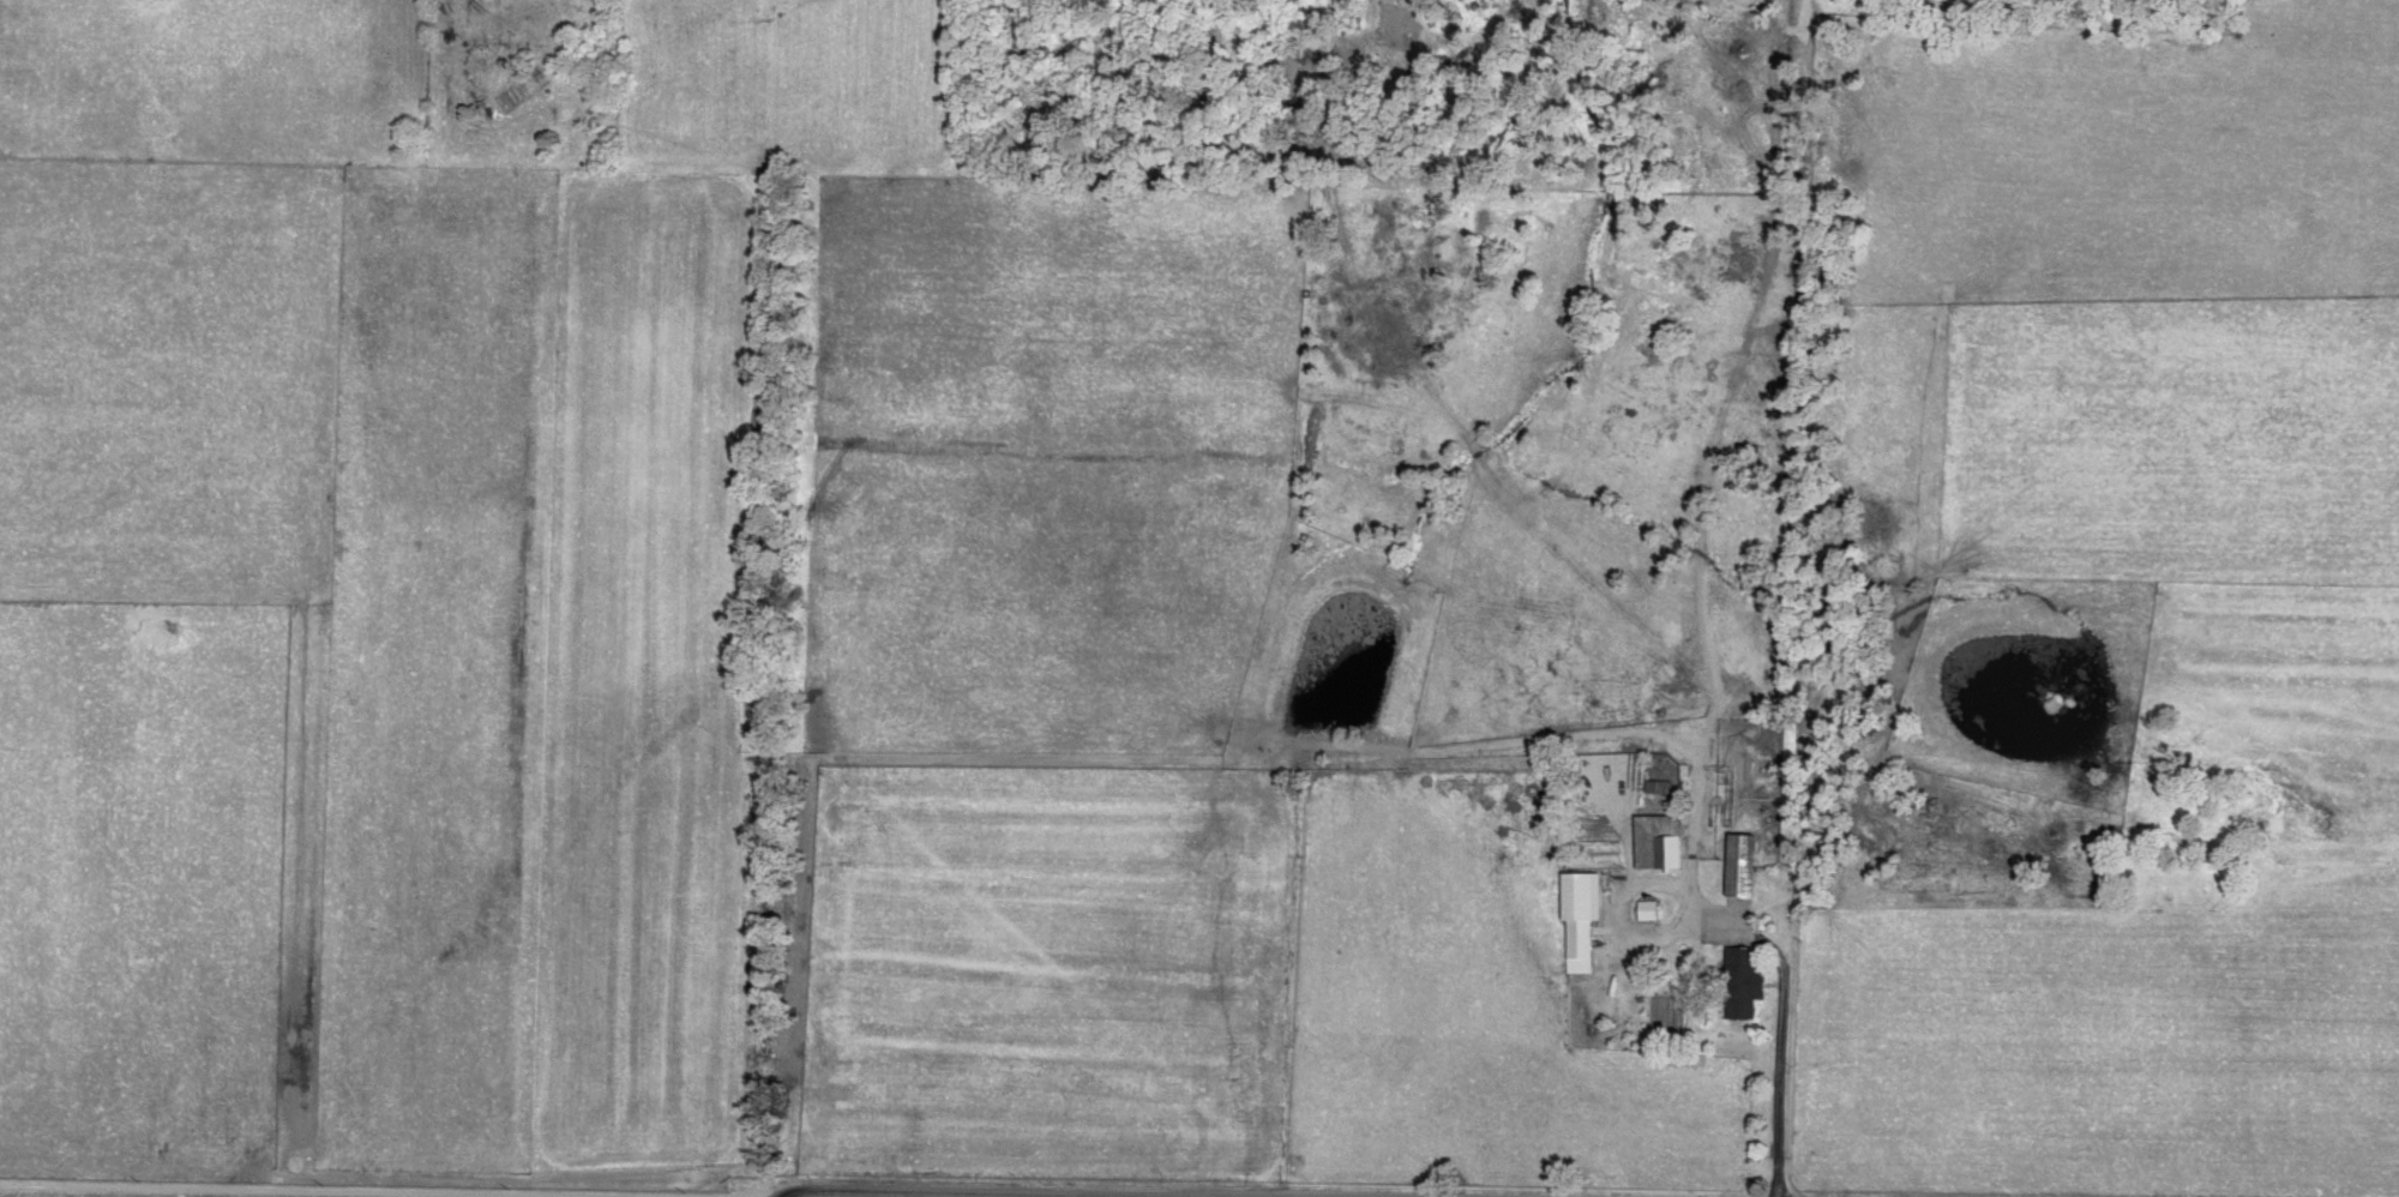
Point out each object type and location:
road: (1707, 674)
building: (1663, 838)
building: (1746, 862)
building: (1651, 907)
building: (1583, 914)
building: (1749, 980)
road: (223, 1192)
road: (750, 1196)

